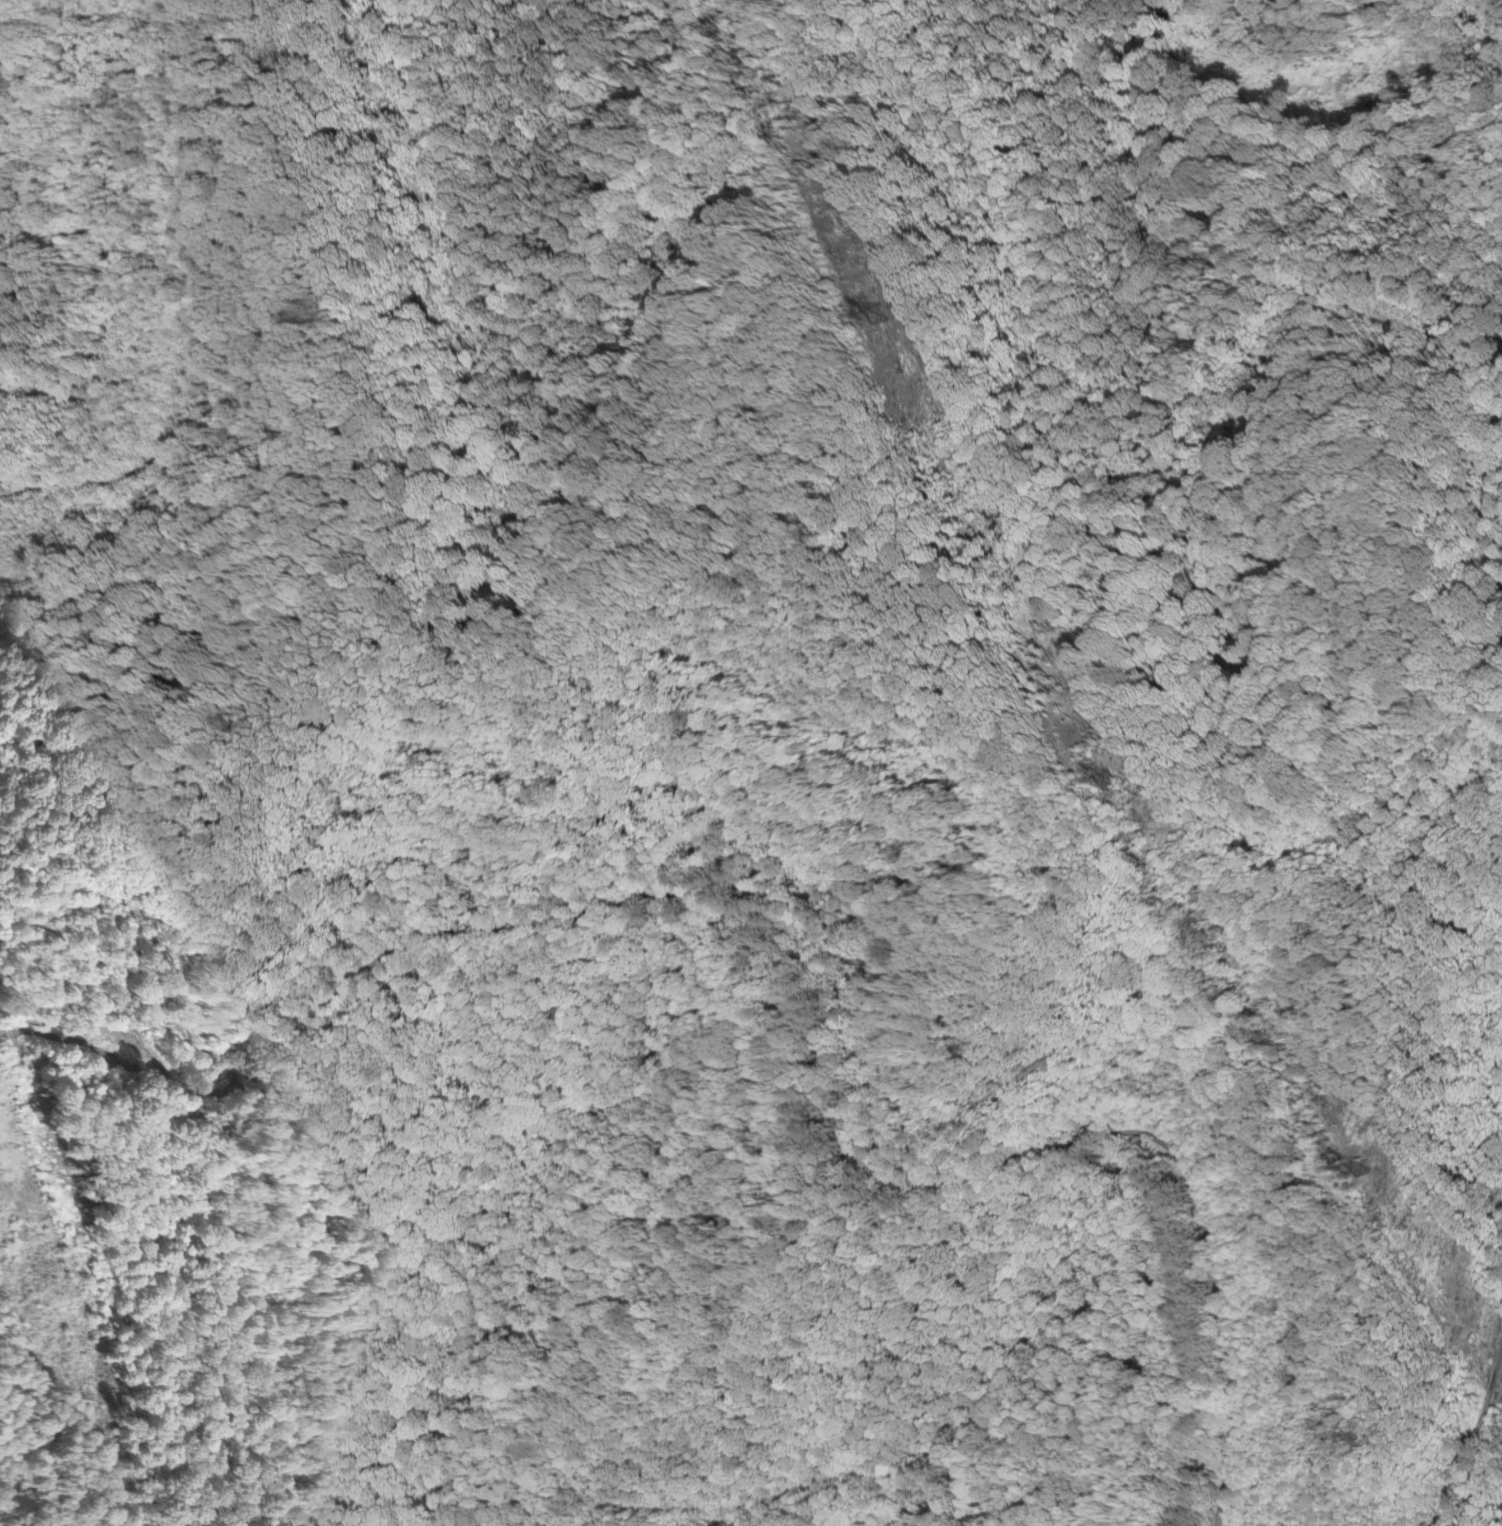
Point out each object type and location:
power tower: (891, 314)
power tower: (1343, 1168)

